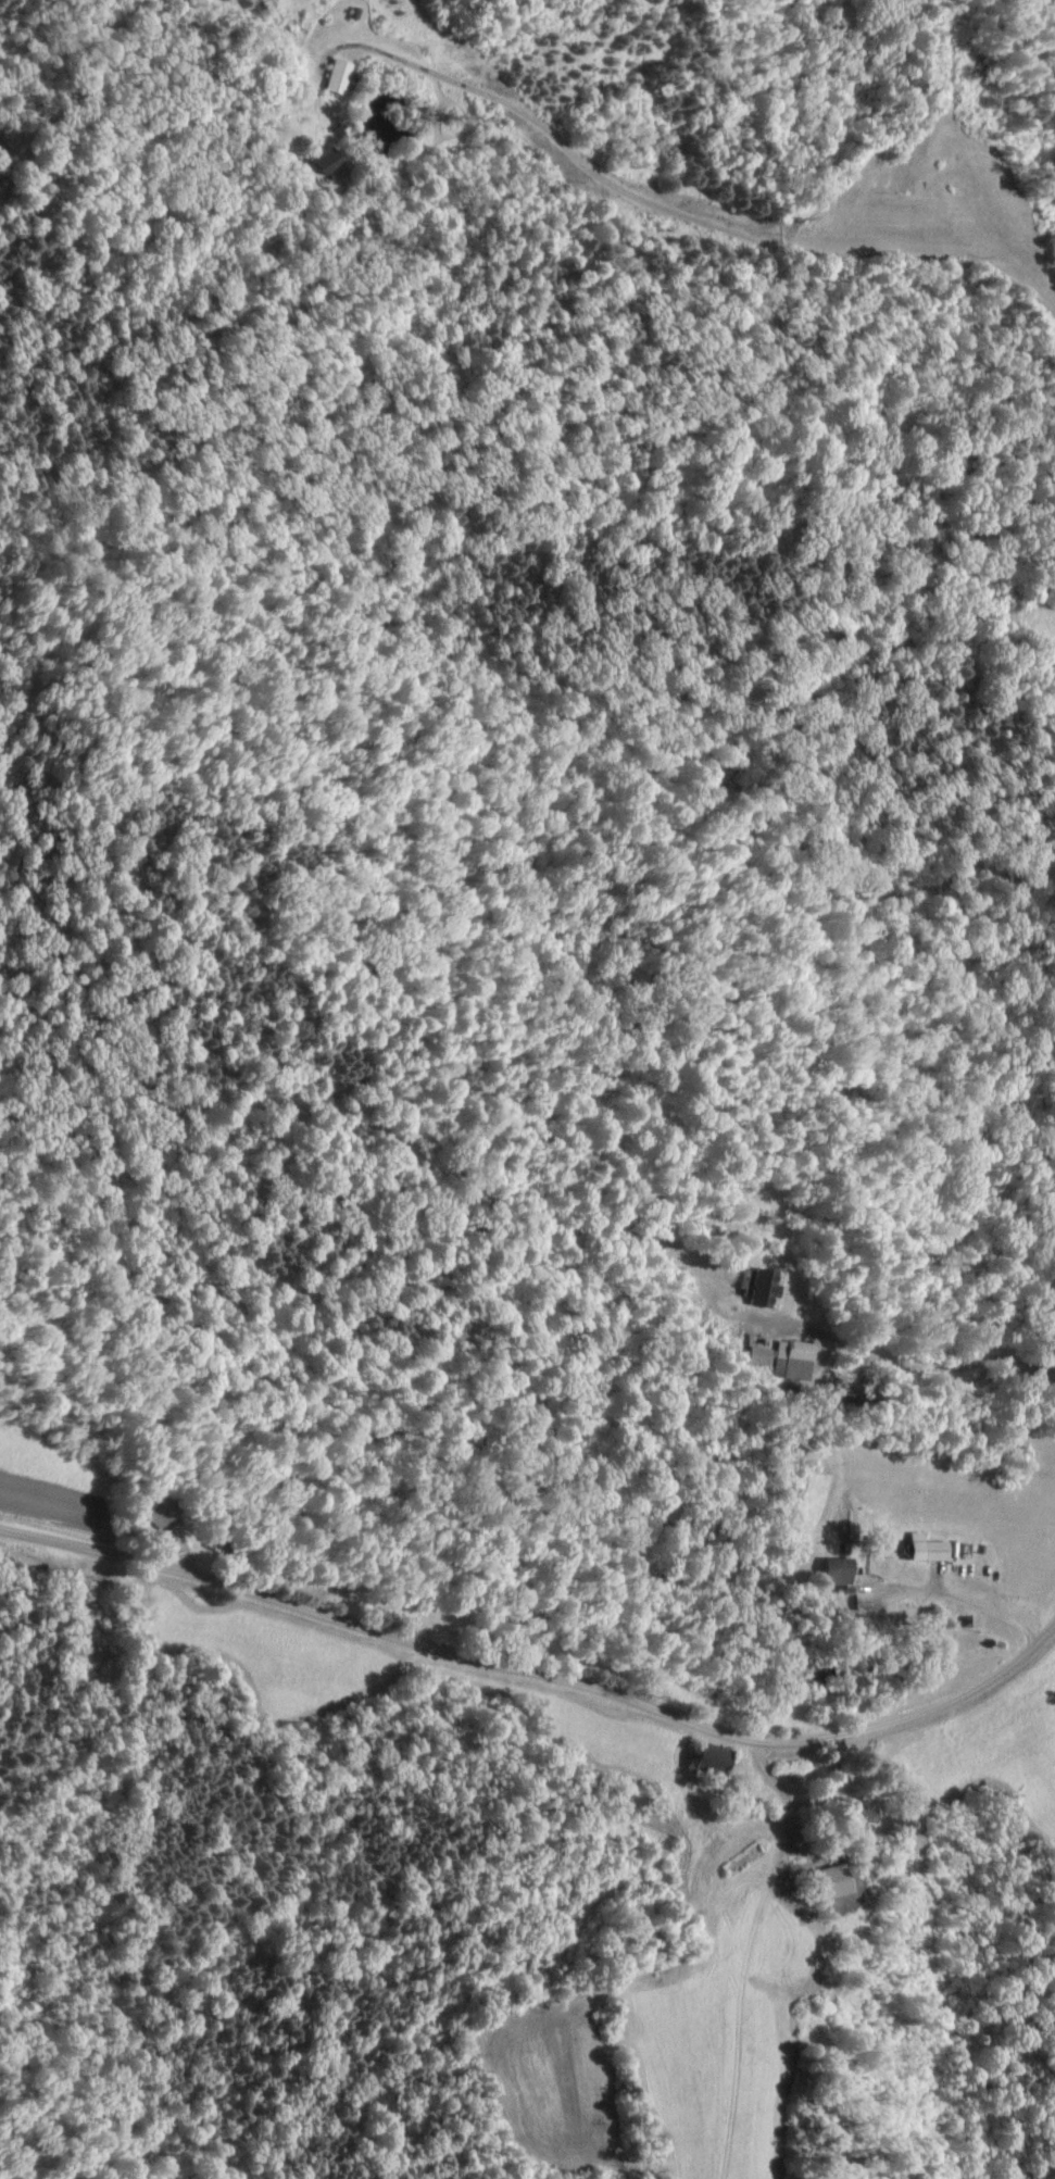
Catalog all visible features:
road: (359, 22)
building: (335, 77)
building: (322, 162)
road: (715, 176)
building: (758, 1289)
building: (754, 1357)
building: (789, 1361)
building: (154, 1514)
building: (922, 1550)
road: (966, 1568)
building: (832, 1573)
road: (549, 1664)
road: (793, 1787)

